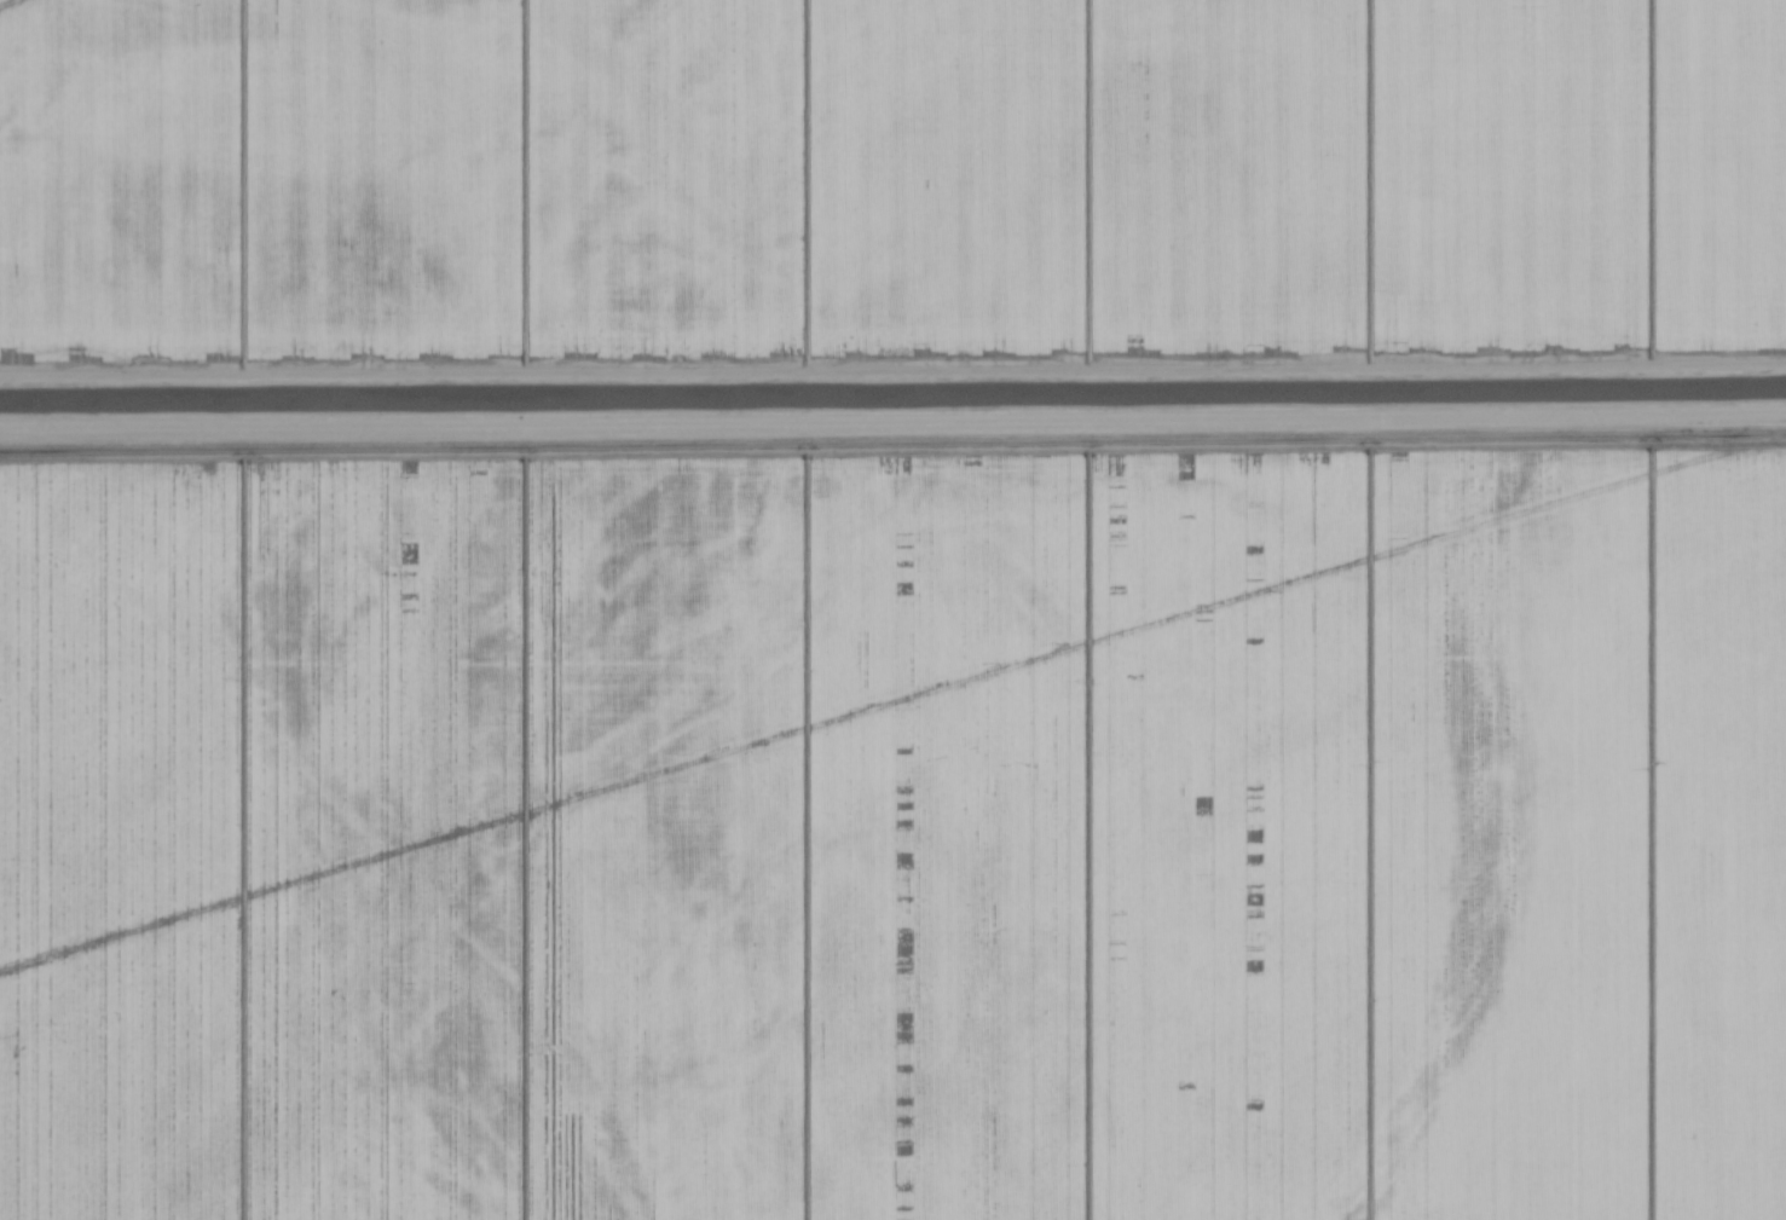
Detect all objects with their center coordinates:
road: (892, 369)
road: (1641, 394)
road: (892, 427)

